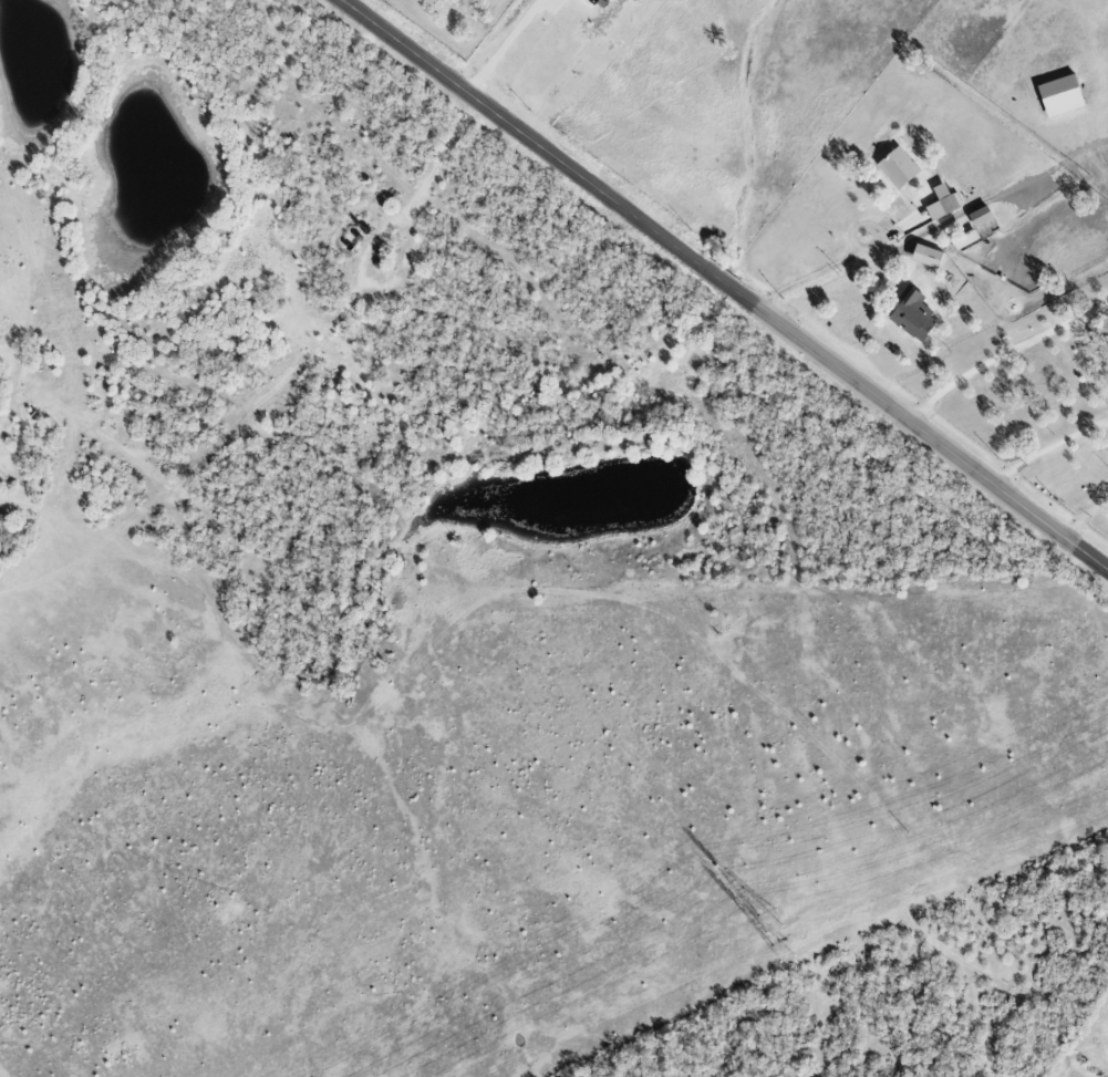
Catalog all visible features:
road: (507, 48)
building: (1062, 95)
building: (899, 168)
road: (423, 186)
building: (943, 204)
building: (981, 216)
building: (928, 256)
road: (816, 276)
road: (725, 283)
building: (913, 315)
road: (1003, 353)
road: (1050, 449)
road: (1084, 516)
building: (3, 528)
power tower: (773, 921)
power tower: (786, 951)

